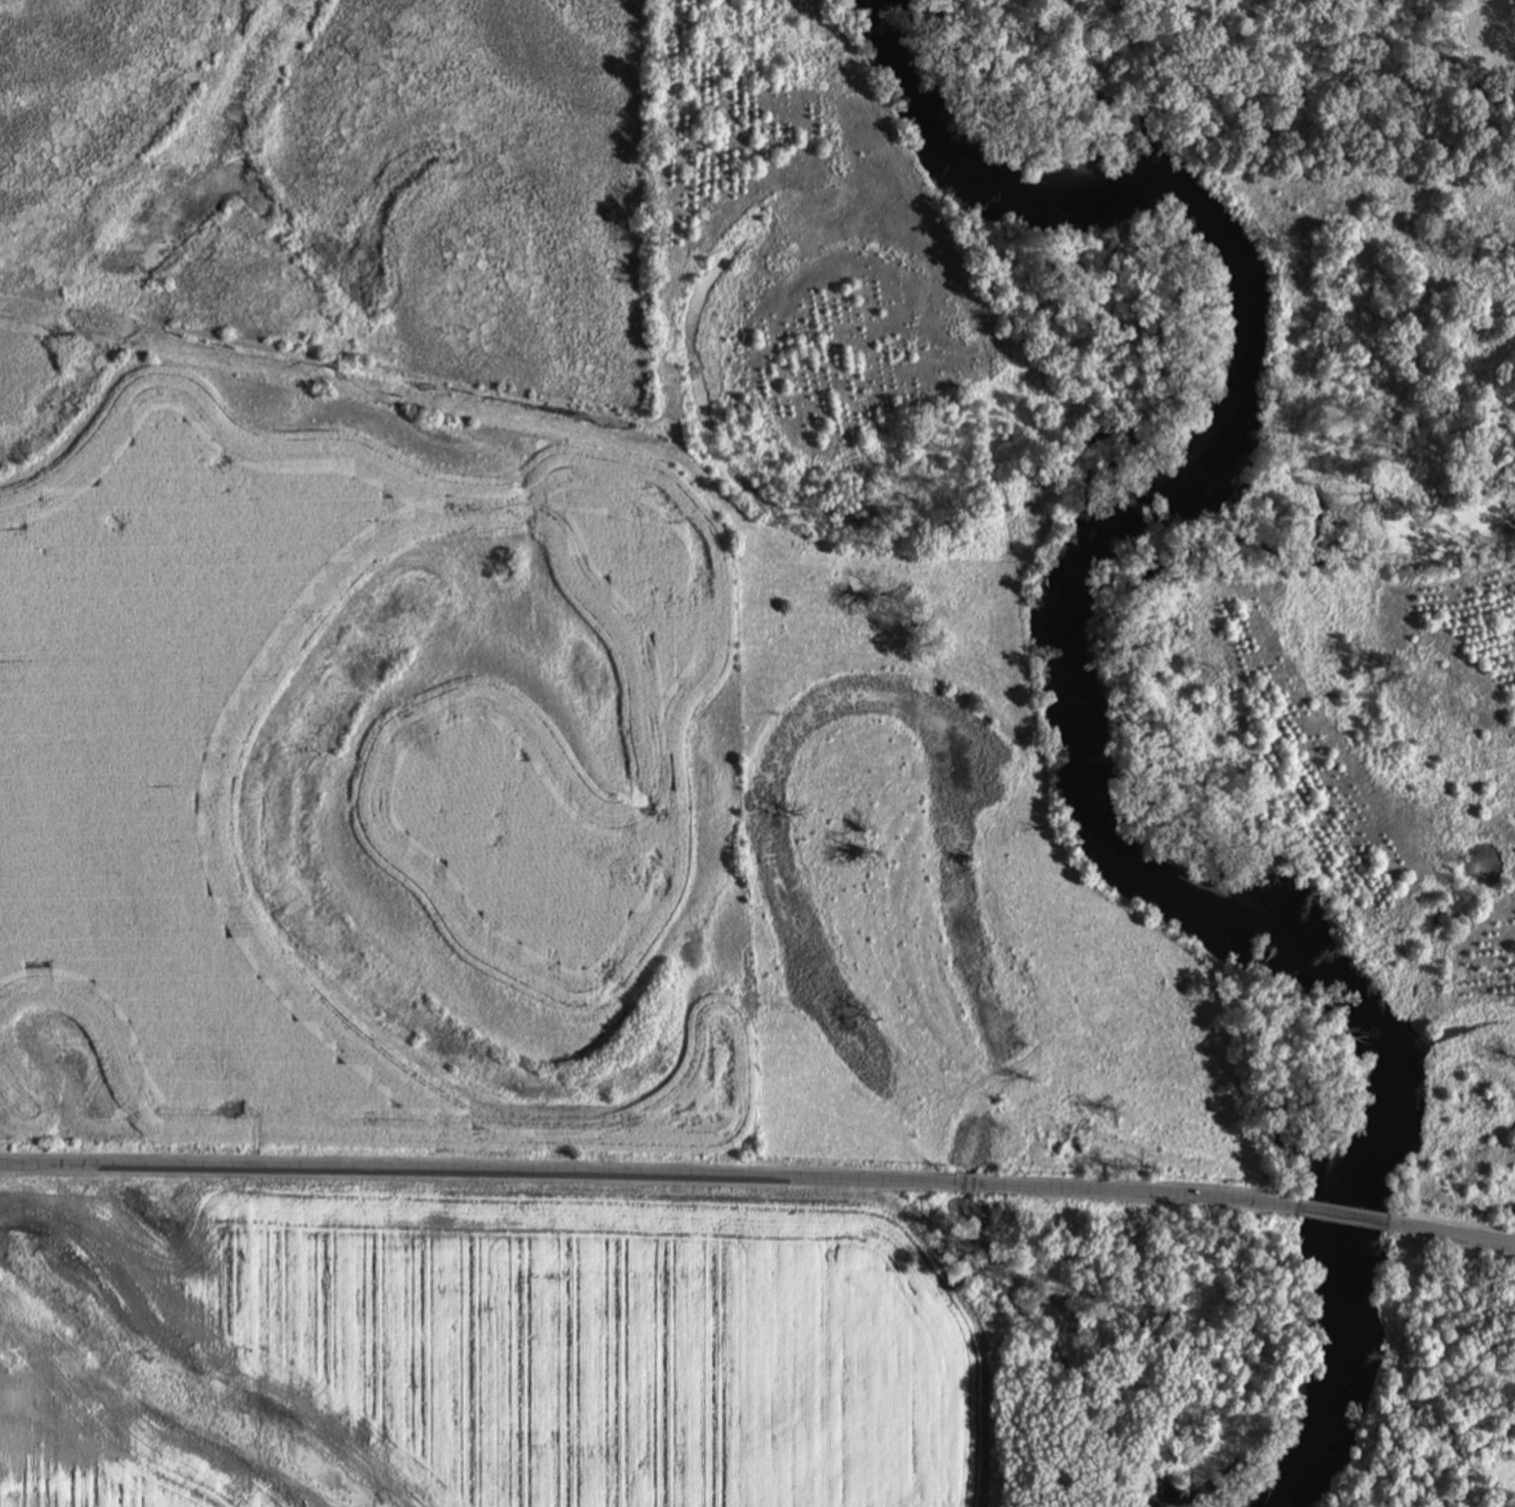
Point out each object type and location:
river: (1076, 696)
road: (658, 1179)
road: (1357, 1221)
road: (1456, 1239)
road: (1160, 1335)

